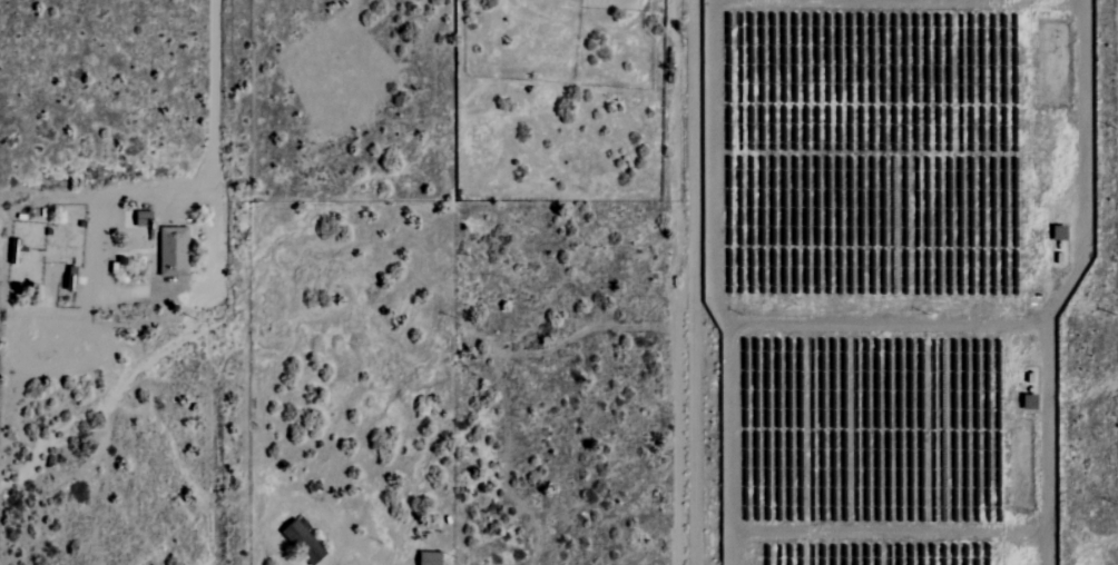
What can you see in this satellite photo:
road: (218, 90)
building: (143, 219)
building: (1060, 232)
building: (18, 250)
building: (174, 251)
building: (71, 278)
road: (674, 281)
building: (1031, 402)
road: (321, 513)
building: (304, 541)

